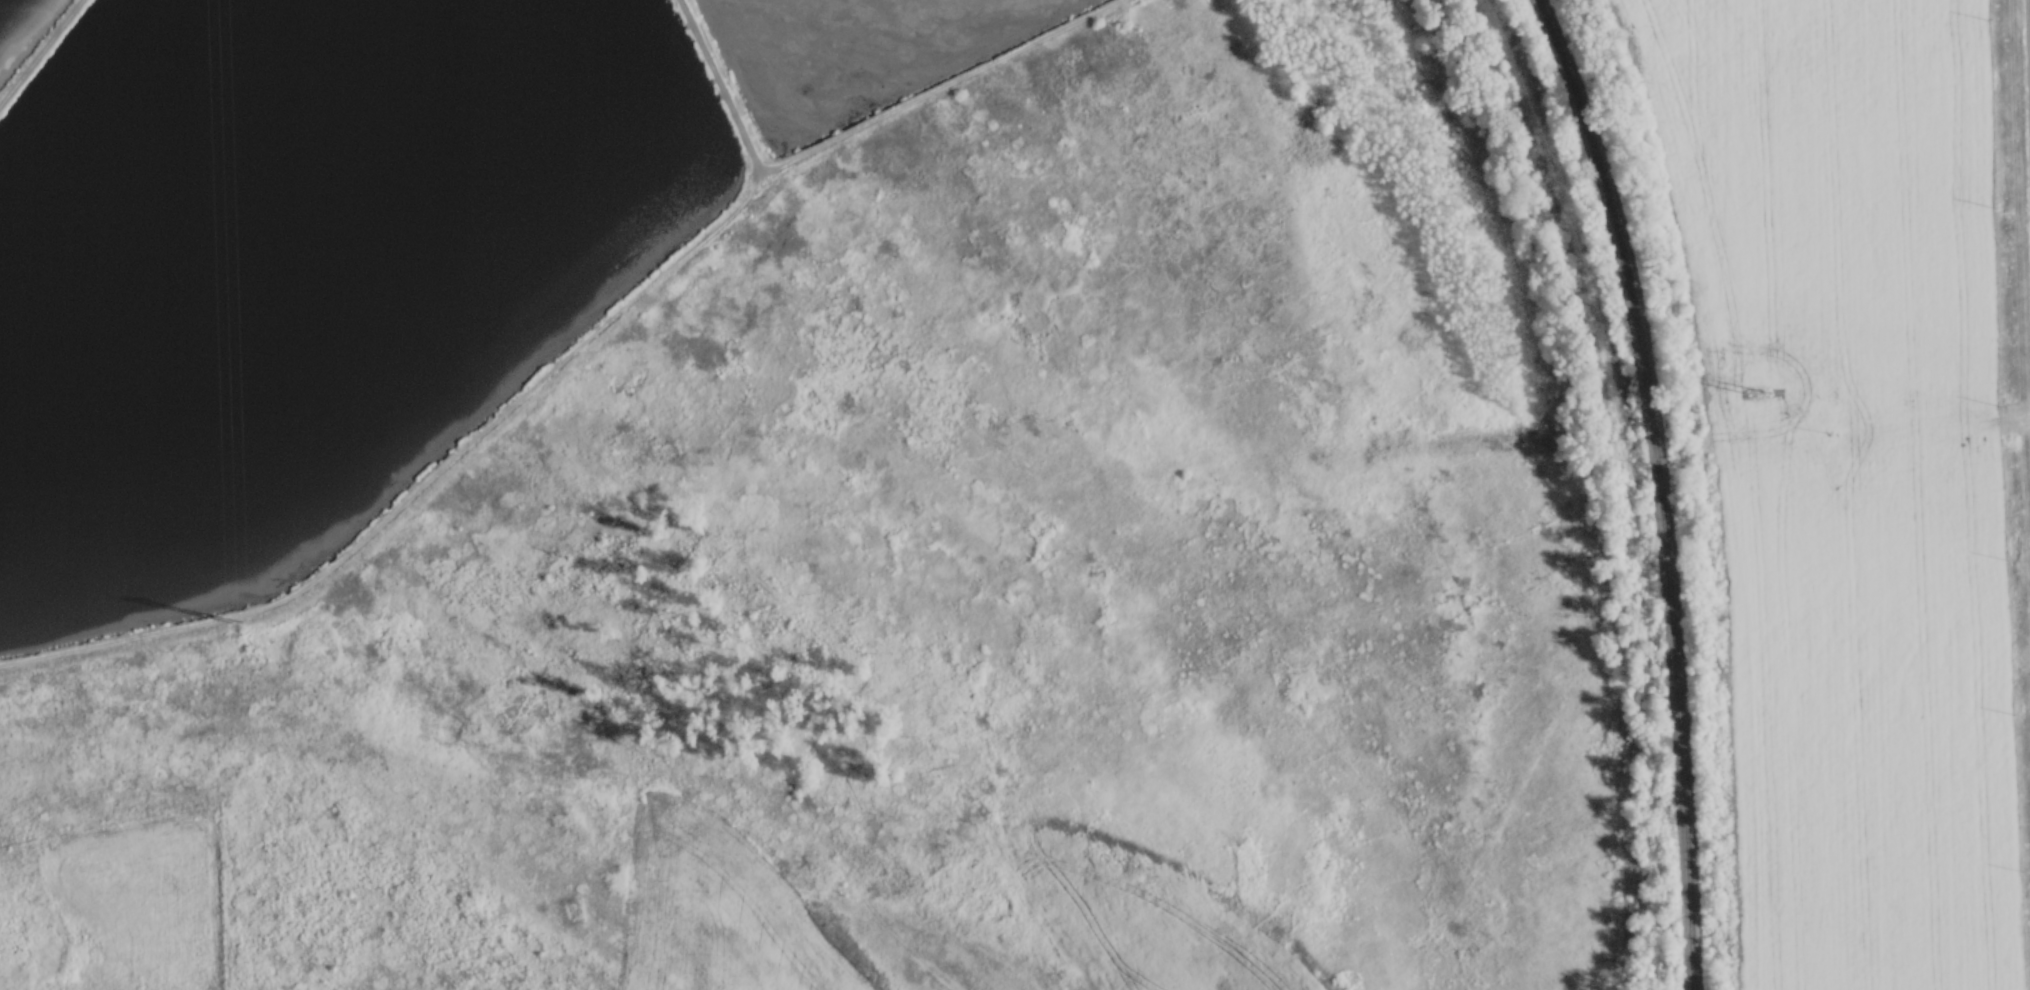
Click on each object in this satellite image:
road: (38, 49)
road: (718, 86)
road: (566, 353)
power tower: (1758, 391)
railway: (1658, 487)
power tower: (249, 626)

